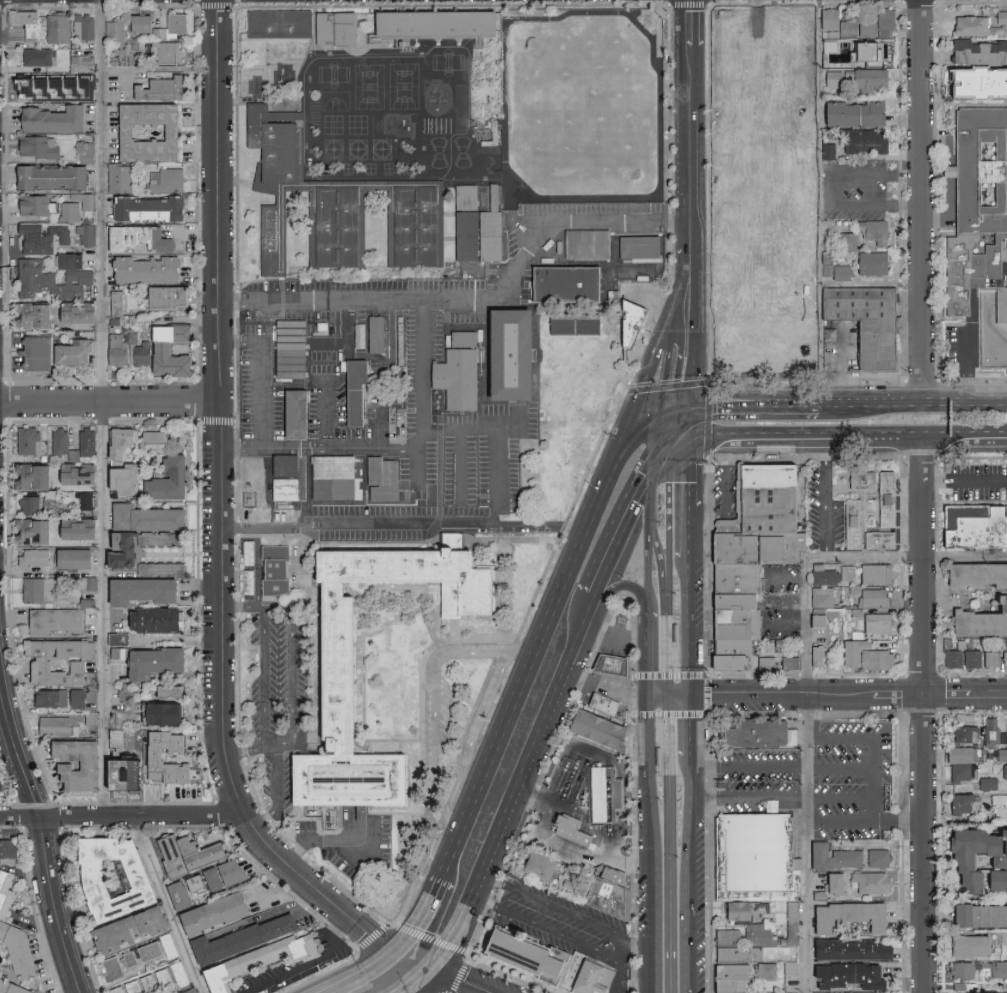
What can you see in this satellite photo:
road: (691, 11)
road: (652, 13)
building: (826, 19)
building: (882, 22)
building: (26, 24)
building: (435, 24)
building: (142, 25)
building: (280, 25)
building: (968, 25)
building: (998, 25)
building: (173, 26)
building: (864, 26)
building: (84, 28)
building: (845, 28)
building: (58, 29)
building: (335, 29)
road: (659, 30)
building: (115, 31)
road: (691, 35)
building: (828, 40)
building: (134, 49)
building: (862, 51)
building: (977, 51)
building: (166, 53)
building: (38, 58)
building: (81, 64)
building: (830, 78)
building: (863, 78)
building: (35, 81)
building: (159, 89)
building: (75, 90)
park: (587, 105)
building: (851, 113)
building: (55, 120)
building: (148, 133)
building: (863, 141)
building: (40, 147)
road: (692, 148)
building: (764, 149)
building: (826, 150)
building: (88, 153)
road: (877, 175)
road: (939, 177)
building: (53, 178)
building: (120, 178)
building: (166, 180)
parking lot: (867, 190)
road: (655, 194)
road: (923, 201)
building: (89, 202)
road: (818, 203)
road: (877, 204)
building: (337, 205)
building: (37, 206)
building: (149, 209)
building: (70, 213)
building: (781, 217)
building: (466, 223)
building: (491, 230)
building: (871, 231)
building: (87, 236)
building: (42, 238)
building: (140, 239)
building: (845, 240)
building: (981, 244)
building: (587, 245)
building: (639, 248)
building: (725, 257)
building: (869, 262)
building: (148, 270)
building: (839, 272)
building: (634, 274)
building: (733, 274)
building: (54, 278)
building: (566, 285)
road: (684, 285)
building: (717, 298)
building: (170, 299)
road: (480, 299)
building: (117, 303)
building: (79, 314)
building: (34, 316)
building: (868, 322)
building: (574, 325)
building: (632, 326)
road: (698, 326)
road: (350, 341)
road: (261, 342)
building: (118, 350)
building: (171, 351)
building: (75, 353)
building: (37, 354)
building: (140, 355)
building: (511, 355)
road: (670, 362)
road: (842, 365)
building: (458, 372)
road: (425, 374)
building: (312, 375)
road: (295, 380)
road: (648, 382)
road: (668, 386)
road: (381, 402)
road: (111, 403)
road: (912, 403)
road: (680, 405)
traffic signals: (693, 405)
traffic signals: (668, 406)
road: (755, 406)
road: (105, 408)
road: (663, 408)
road: (692, 424)
road: (639, 425)
road: (665, 429)
road: (474, 431)
building: (178, 440)
road: (848, 440)
building: (30, 441)
building: (87, 442)
building: (121, 442)
building: (152, 442)
building: (60, 443)
road: (688, 443)
traffic signals: (691, 443)
road: (340, 446)
road: (672, 446)
traffic signals: (662, 452)
road: (459, 464)
road: (498, 468)
building: (79, 476)
building: (33, 477)
building: (286, 478)
building: (334, 479)
building: (383, 479)
parking lot: (479, 479)
building: (859, 479)
building: (125, 480)
building: (169, 480)
road: (965, 481)
parking lot: (975, 481)
road: (309, 486)
road: (653, 487)
road: (726, 493)
parking lot: (726, 494)
building: (882, 499)
road: (689, 500)
building: (774, 500)
road: (825, 501)
building: (84, 502)
building: (30, 505)
road: (668, 508)
road: (493, 513)
building: (146, 518)
road: (624, 523)
parking lot: (374, 524)
building: (850, 524)
road: (430, 525)
road: (267, 527)
building: (977, 529)
building: (79, 530)
road: (224, 532)
building: (33, 533)
building: (875, 540)
building: (249, 548)
building: (762, 550)
road: (659, 551)
building: (34, 558)
building: (123, 558)
building: (74, 559)
road: (837, 561)
road: (648, 567)
building: (161, 569)
road: (54, 571)
building: (276, 571)
building: (873, 573)
building: (978, 574)
building: (821, 575)
road: (786, 578)
building: (741, 581)
building: (89, 584)
road: (627, 585)
building: (33, 591)
building: (143, 592)
building: (820, 596)
building: (872, 597)
building: (157, 621)
road: (786, 621)
building: (813, 621)
building: (55, 622)
building: (982, 622)
building: (875, 623)
building: (738, 625)
road: (688, 626)
road: (582, 630)
building: (675, 633)
building: (118, 640)
road: (293, 648)
building: (853, 651)
road: (648, 654)
building: (814, 655)
building: (990, 658)
building: (1004, 658)
building: (876, 659)
building: (951, 659)
building: (971, 659)
road: (531, 661)
building: (59, 662)
building: (154, 662)
building: (722, 662)
building: (789, 662)
building: (767, 663)
building: (613, 668)
road: (671, 674)
road: (265, 680)
parking lot: (279, 680)
building: (338, 686)
road: (708, 686)
road: (606, 687)
building: (171, 692)
road: (668, 696)
traffic signals: (668, 696)
traffic signals: (689, 696)
road: (848, 696)
traffic signals: (649, 697)
building: (51, 698)
road: (435, 698)
building: (78, 699)
building: (605, 707)
building: (163, 714)
road: (670, 714)
road: (926, 716)
building: (91, 718)
road: (689, 726)
building: (57, 727)
building: (590, 729)
building: (993, 733)
building: (963, 734)
building: (763, 736)
road: (857, 736)
building: (958, 754)
building: (1001, 755)
building: (659, 757)
building: (156, 759)
building: (128, 761)
building: (78, 765)
road: (783, 768)
road: (279, 769)
building: (1003, 771)
building: (960, 772)
parking lot: (822, 783)
road: (876, 783)
building: (985, 783)
road: (633, 785)
road: (668, 786)
building: (0, 789)
road: (649, 790)
building: (608, 798)
road: (783, 799)
building: (961, 803)
road: (877, 811)
road: (121, 816)
road: (506, 819)
road: (867, 823)
building: (563, 828)
road: (45, 837)
road: (687, 842)
road: (318, 844)
road: (809, 844)
building: (8, 850)
building: (1002, 850)
building: (188, 855)
building: (967, 856)
building: (831, 857)
building: (875, 858)
road: (625, 860)
building: (759, 862)
building: (533, 867)
building: (1, 870)
building: (225, 876)
building: (114, 878)
building: (869, 882)
building: (195, 883)
building: (831, 883)
building: (6, 894)
building: (179, 895)
building: (614, 897)
road: (170, 905)
building: (732, 911)
building: (215, 914)
building: (958, 915)
building: (845, 916)
building: (987, 916)
road: (424, 918)
building: (131, 930)
building: (758, 935)
road: (655, 938)
building: (244, 940)
building: (1006, 941)
building: (731, 942)
building: (967, 945)
building: (18, 949)
building: (158, 949)
building: (847, 950)
road: (619, 951)
traffic signals: (398, 954)
building: (518, 955)
building: (742, 958)
building: (129, 960)
road: (684, 960)
building: (259, 961)
road: (311, 962)
traffic signals: (432, 968)
building: (787, 968)
building: (998, 968)
building: (113, 970)
building: (958, 970)
building: (793, 971)
road: (394, 973)
road: (364, 974)
building: (770, 974)
road: (618, 976)
building: (845, 976)
building: (171, 977)
building: (588, 978)
road: (432, 980)
road: (461, 980)
building: (735, 980)
road: (417, 982)
building: (149, 984)
building: (133, 987)
building: (12, 988)
building: (117, 990)
building: (190, 991)
building: (834, 992)

